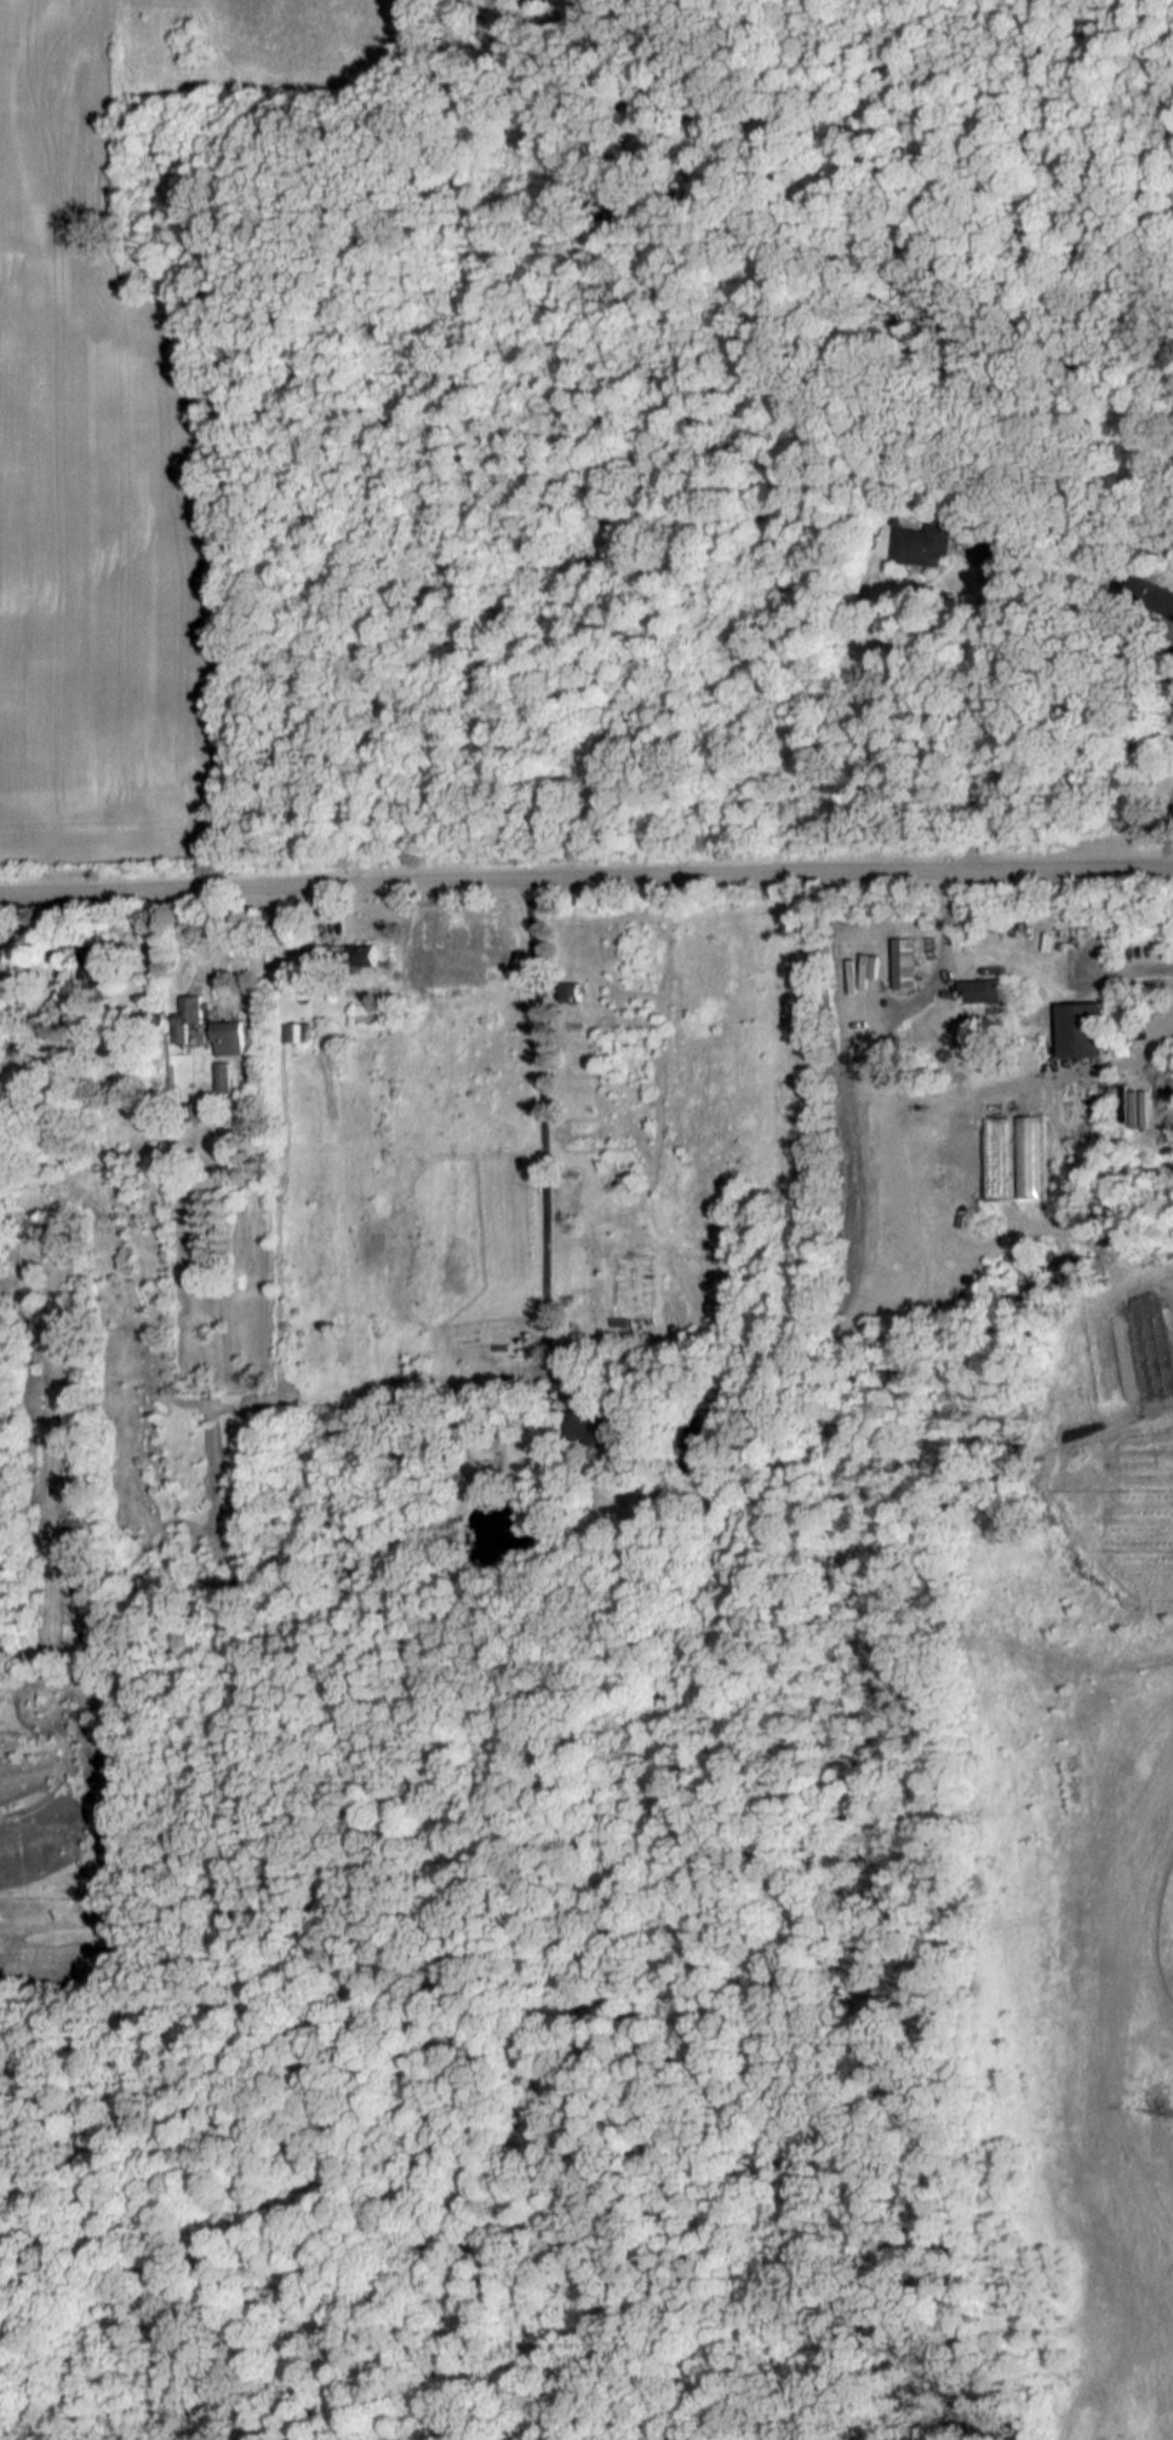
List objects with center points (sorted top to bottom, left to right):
road: (1168, 664)
road: (989, 704)
road: (1169, 829)
road: (585, 874)
road: (943, 926)
building: (342, 955)
building: (905, 963)
building: (101, 968)
road: (1121, 970)
building: (984, 990)
building: (189, 1016)
building: (1085, 1029)
building: (229, 1038)
road: (1134, 1050)
road: (915, 1109)
road: (543, 1118)
road: (538, 1368)
road: (568, 1382)
building: (590, 1424)

